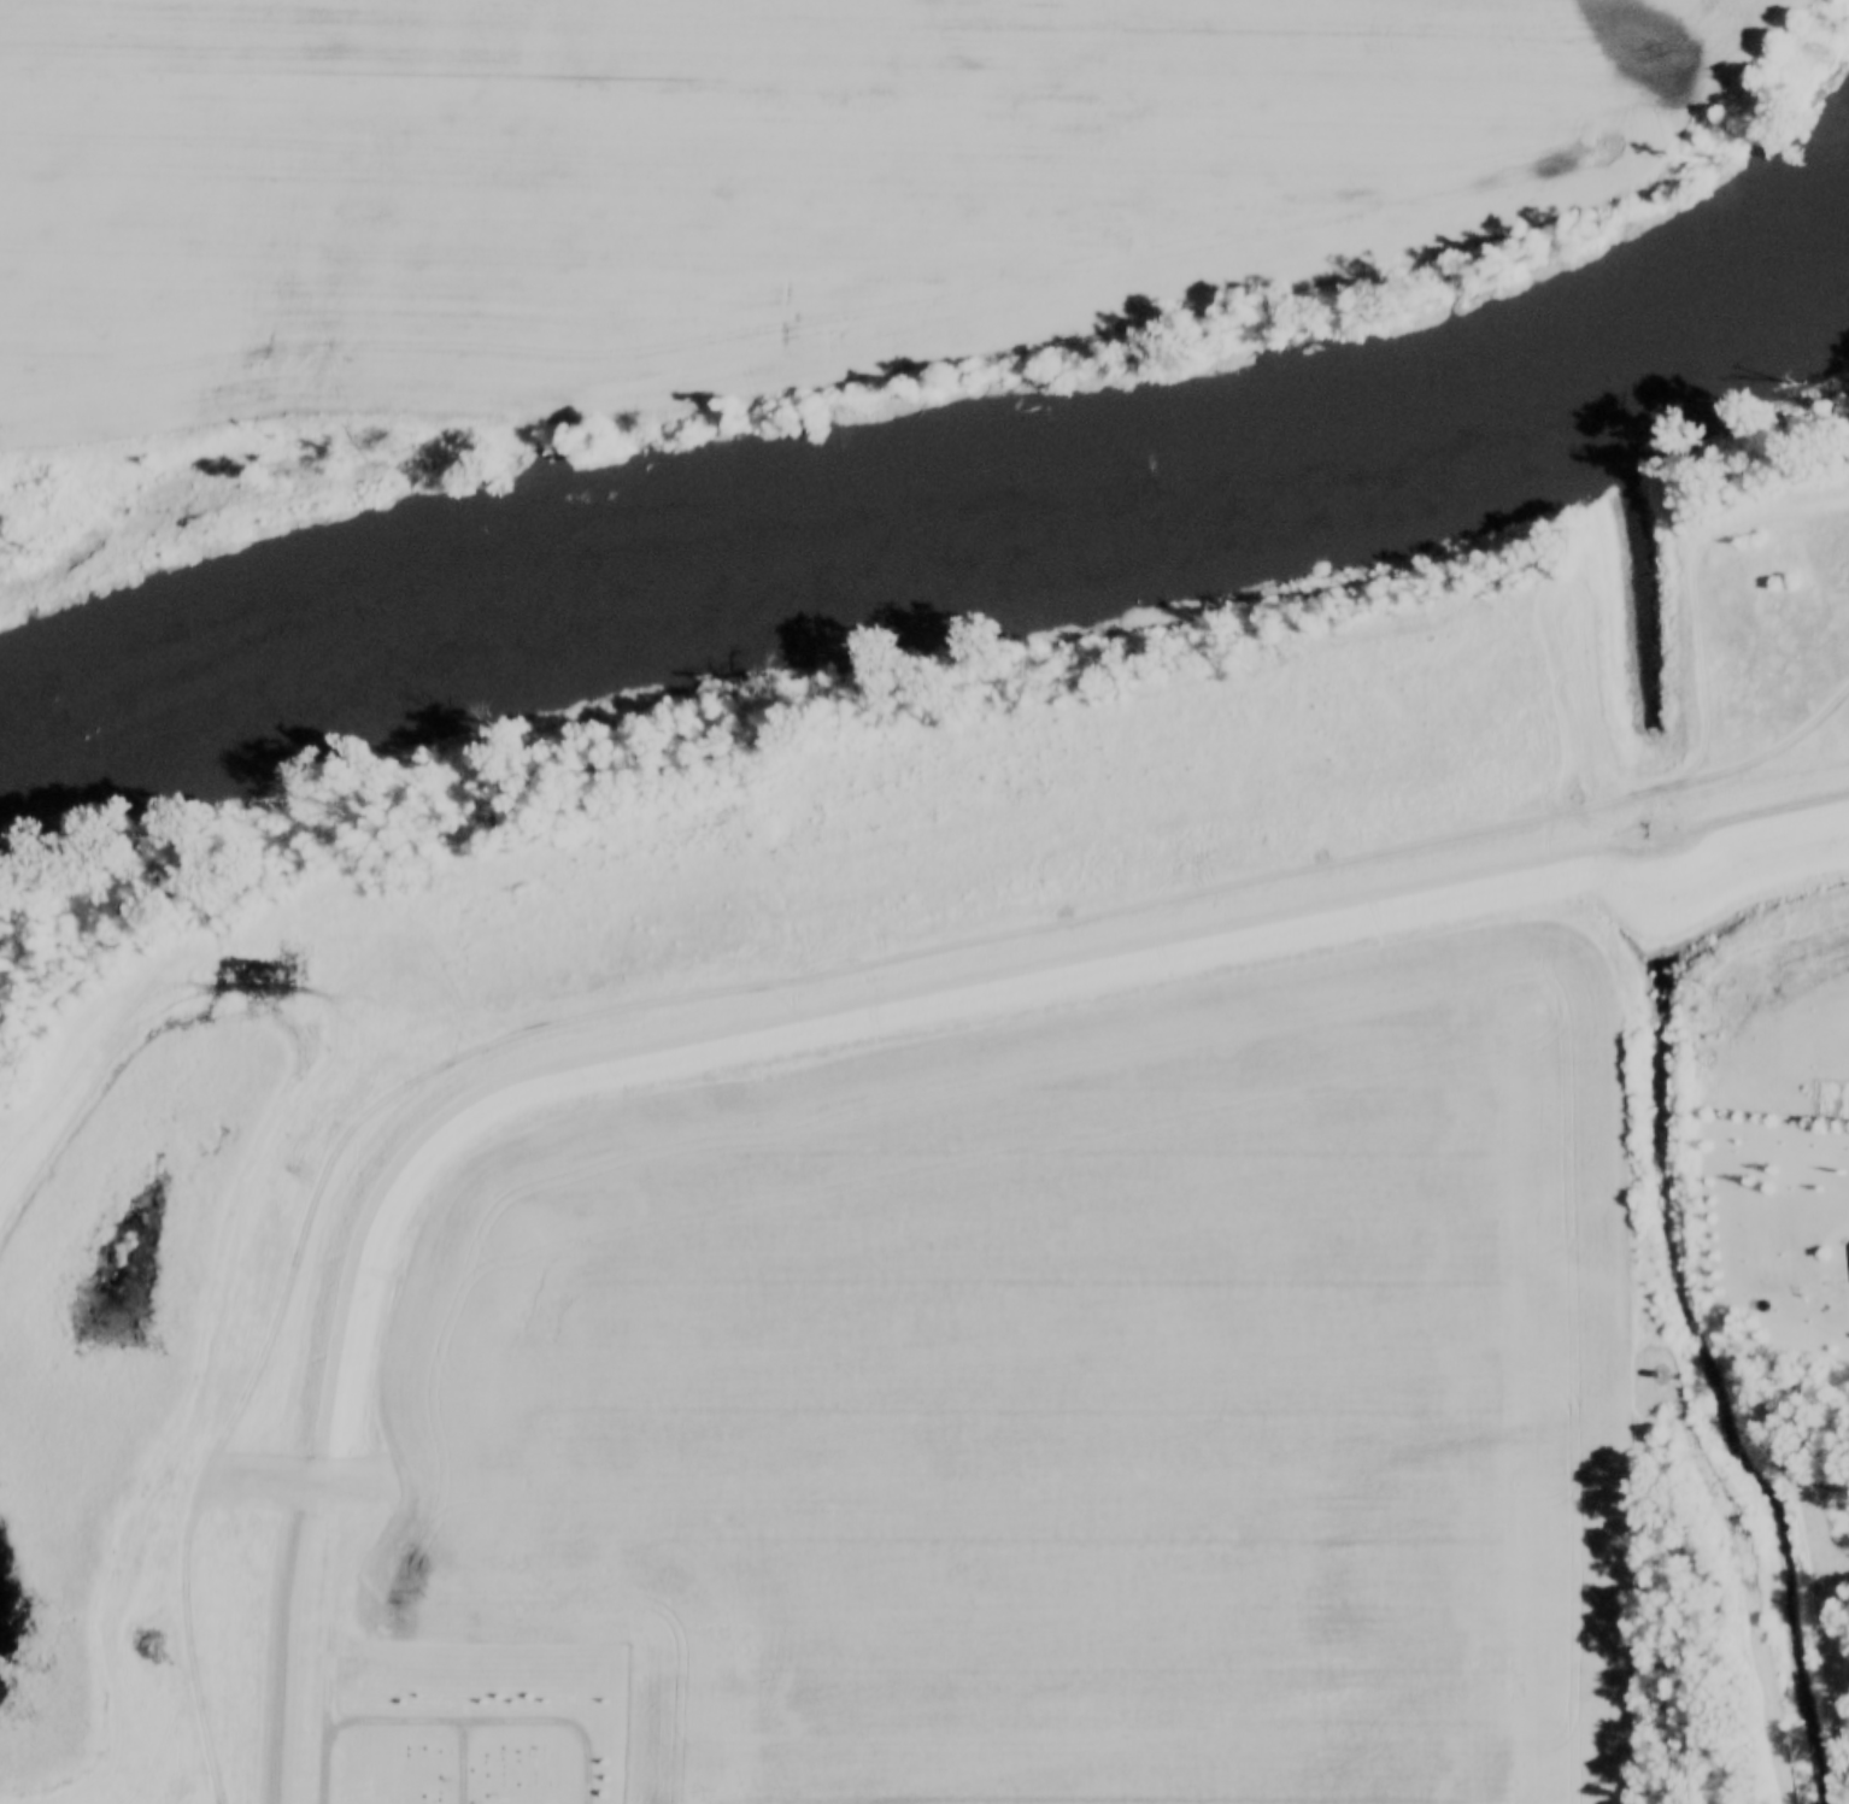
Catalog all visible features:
river: (947, 537)
building: (1848, 1517)
park: (472, 1717)
road: (322, 1758)

